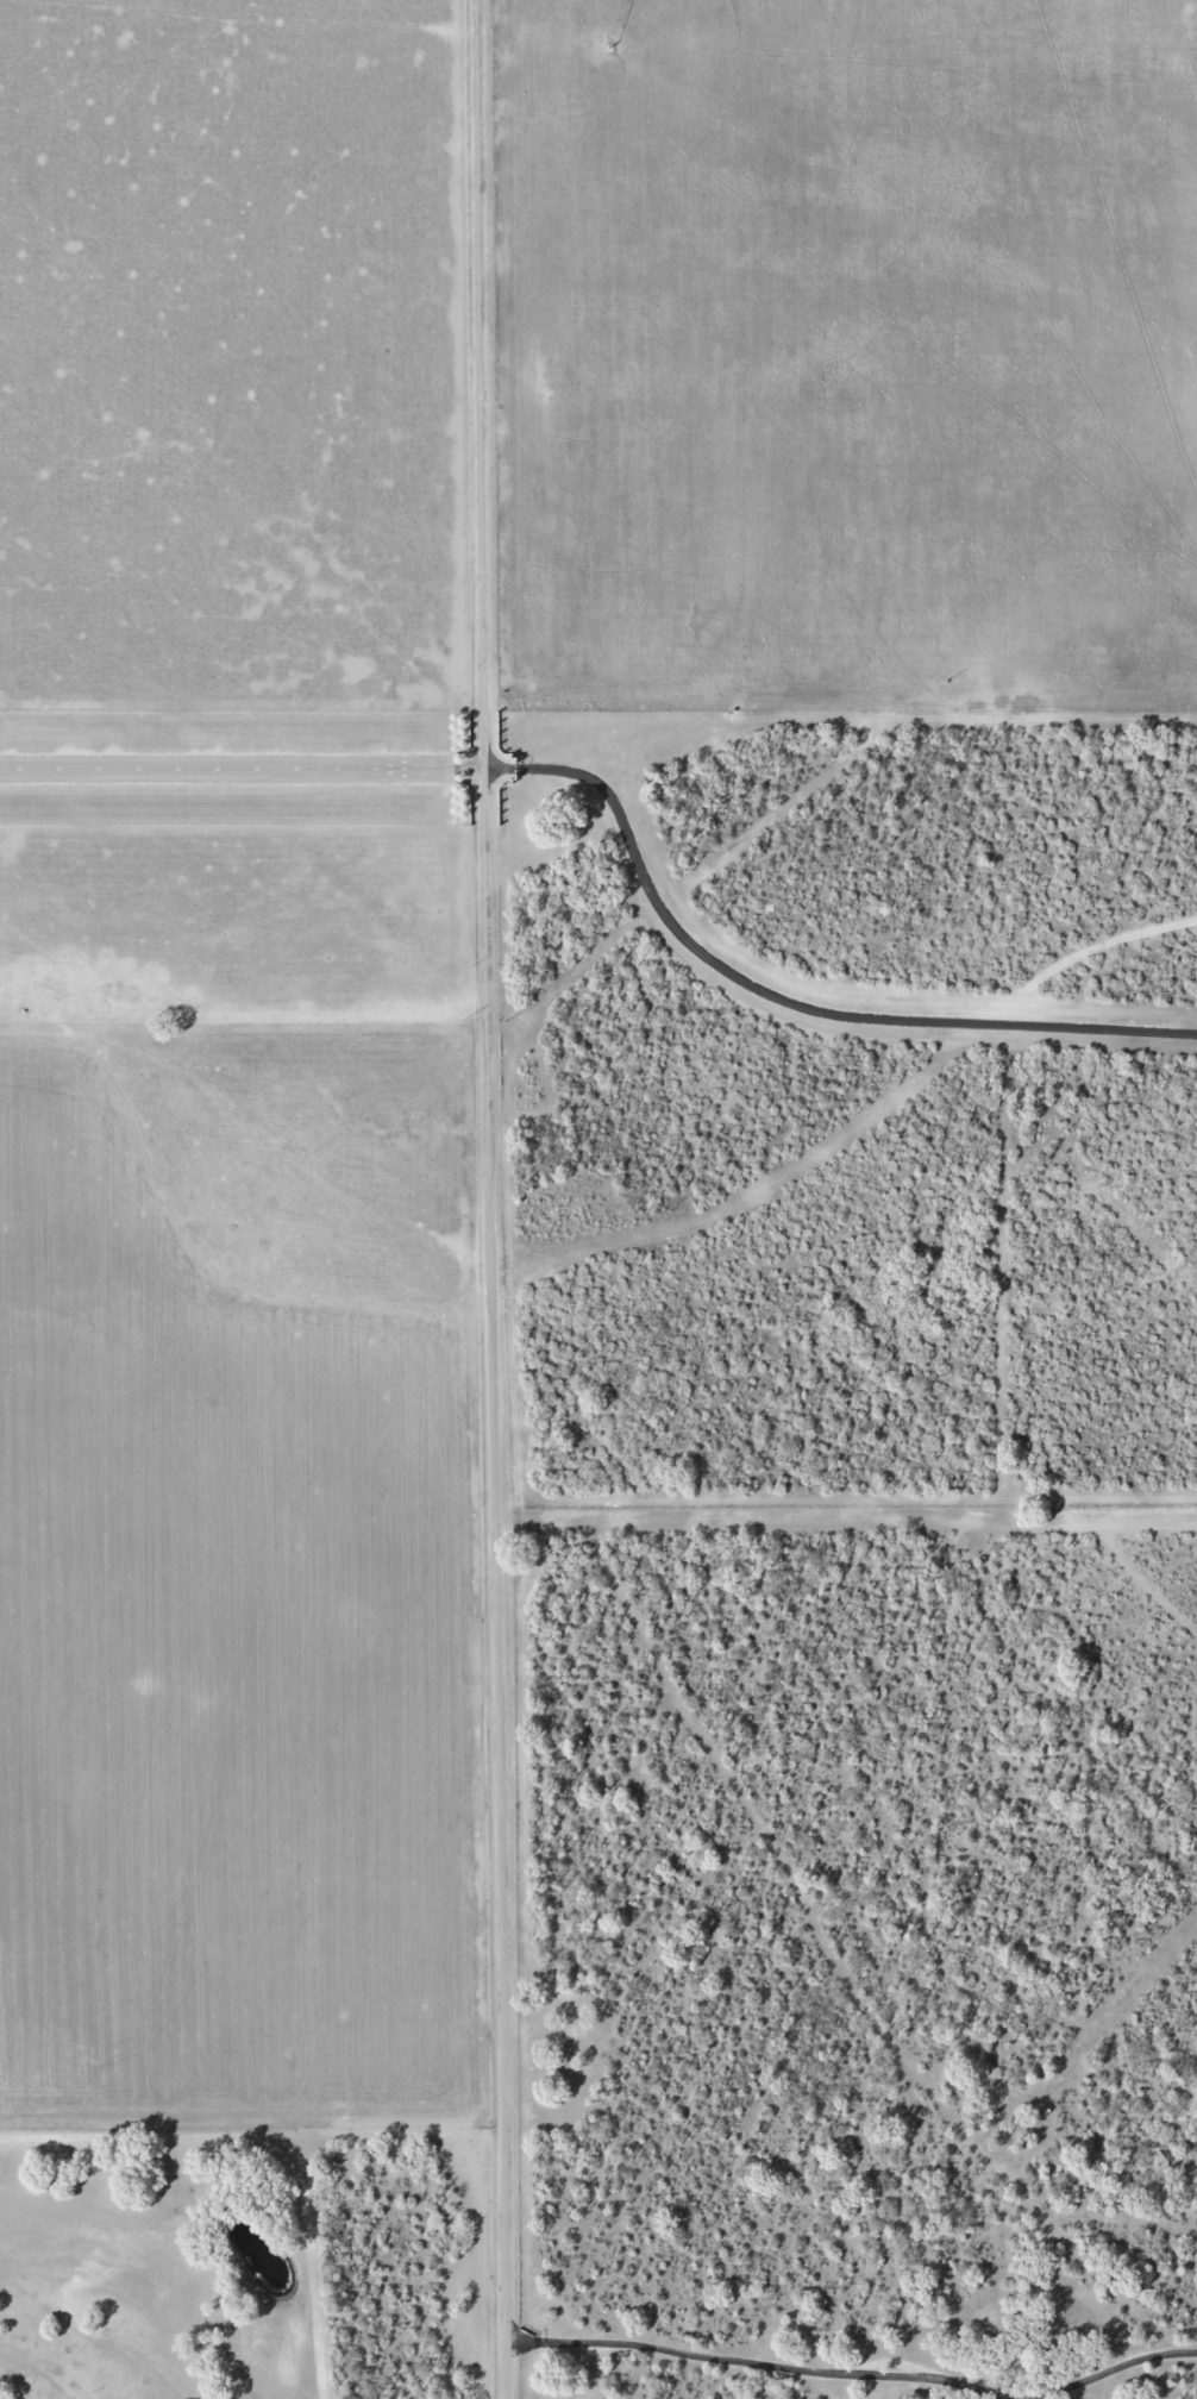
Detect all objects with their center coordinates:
airport runway: (192, 768)
road: (192, 768)
road: (1092, 956)
road: (739, 976)
road: (490, 1199)
road: (856, 2369)

